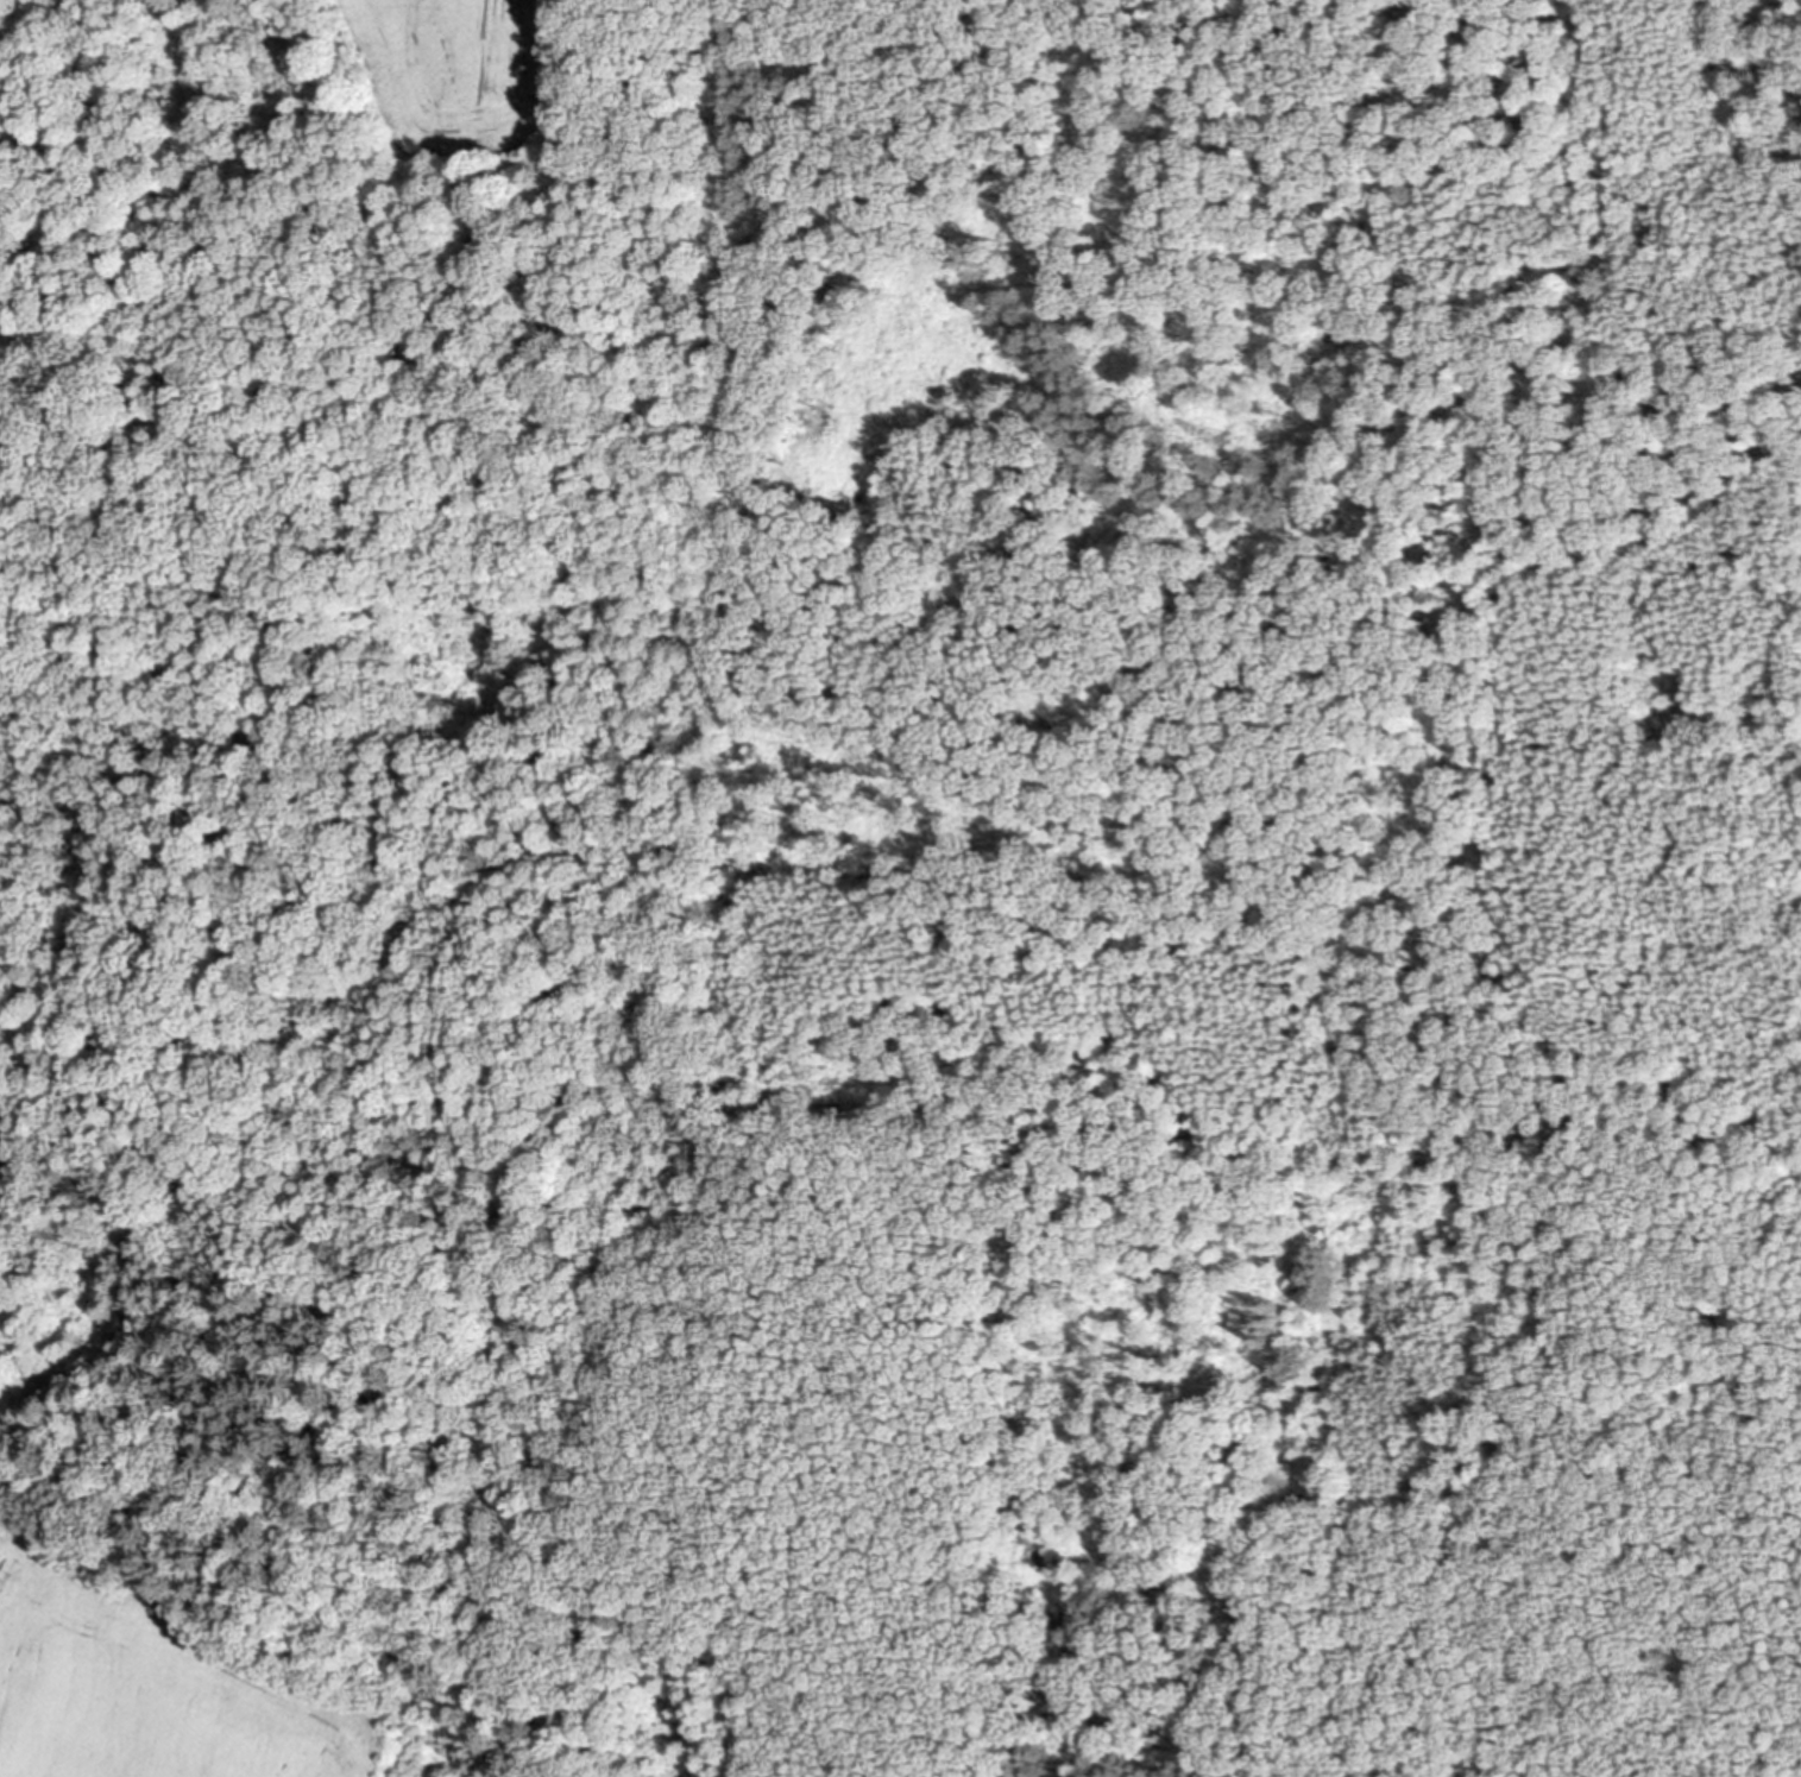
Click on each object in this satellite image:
crop: (481, 65)

